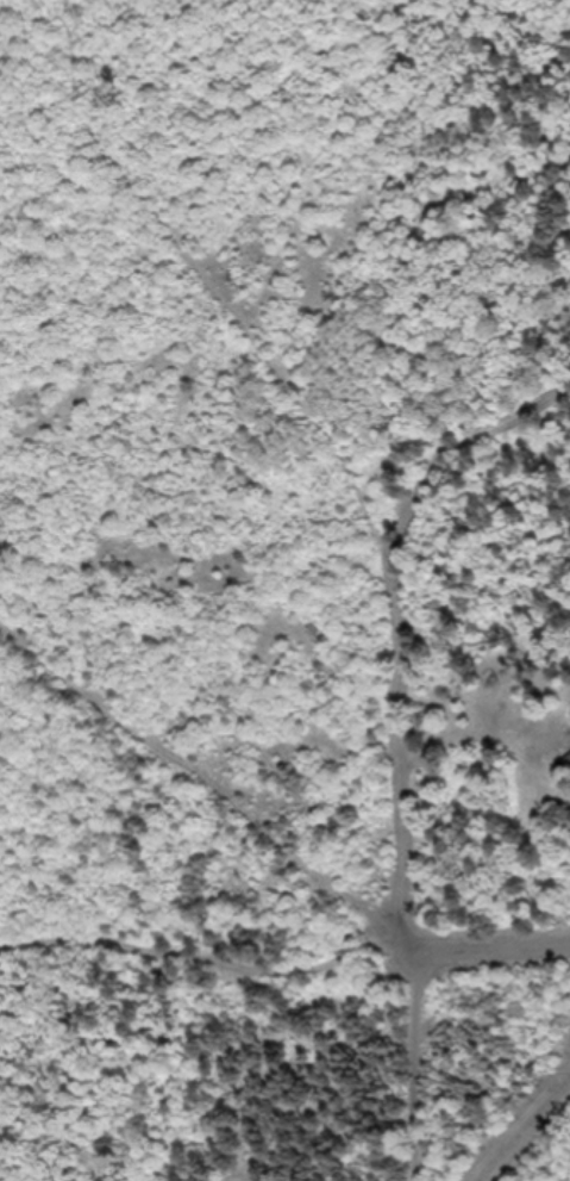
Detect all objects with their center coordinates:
road: (491, 946)
road: (413, 986)

